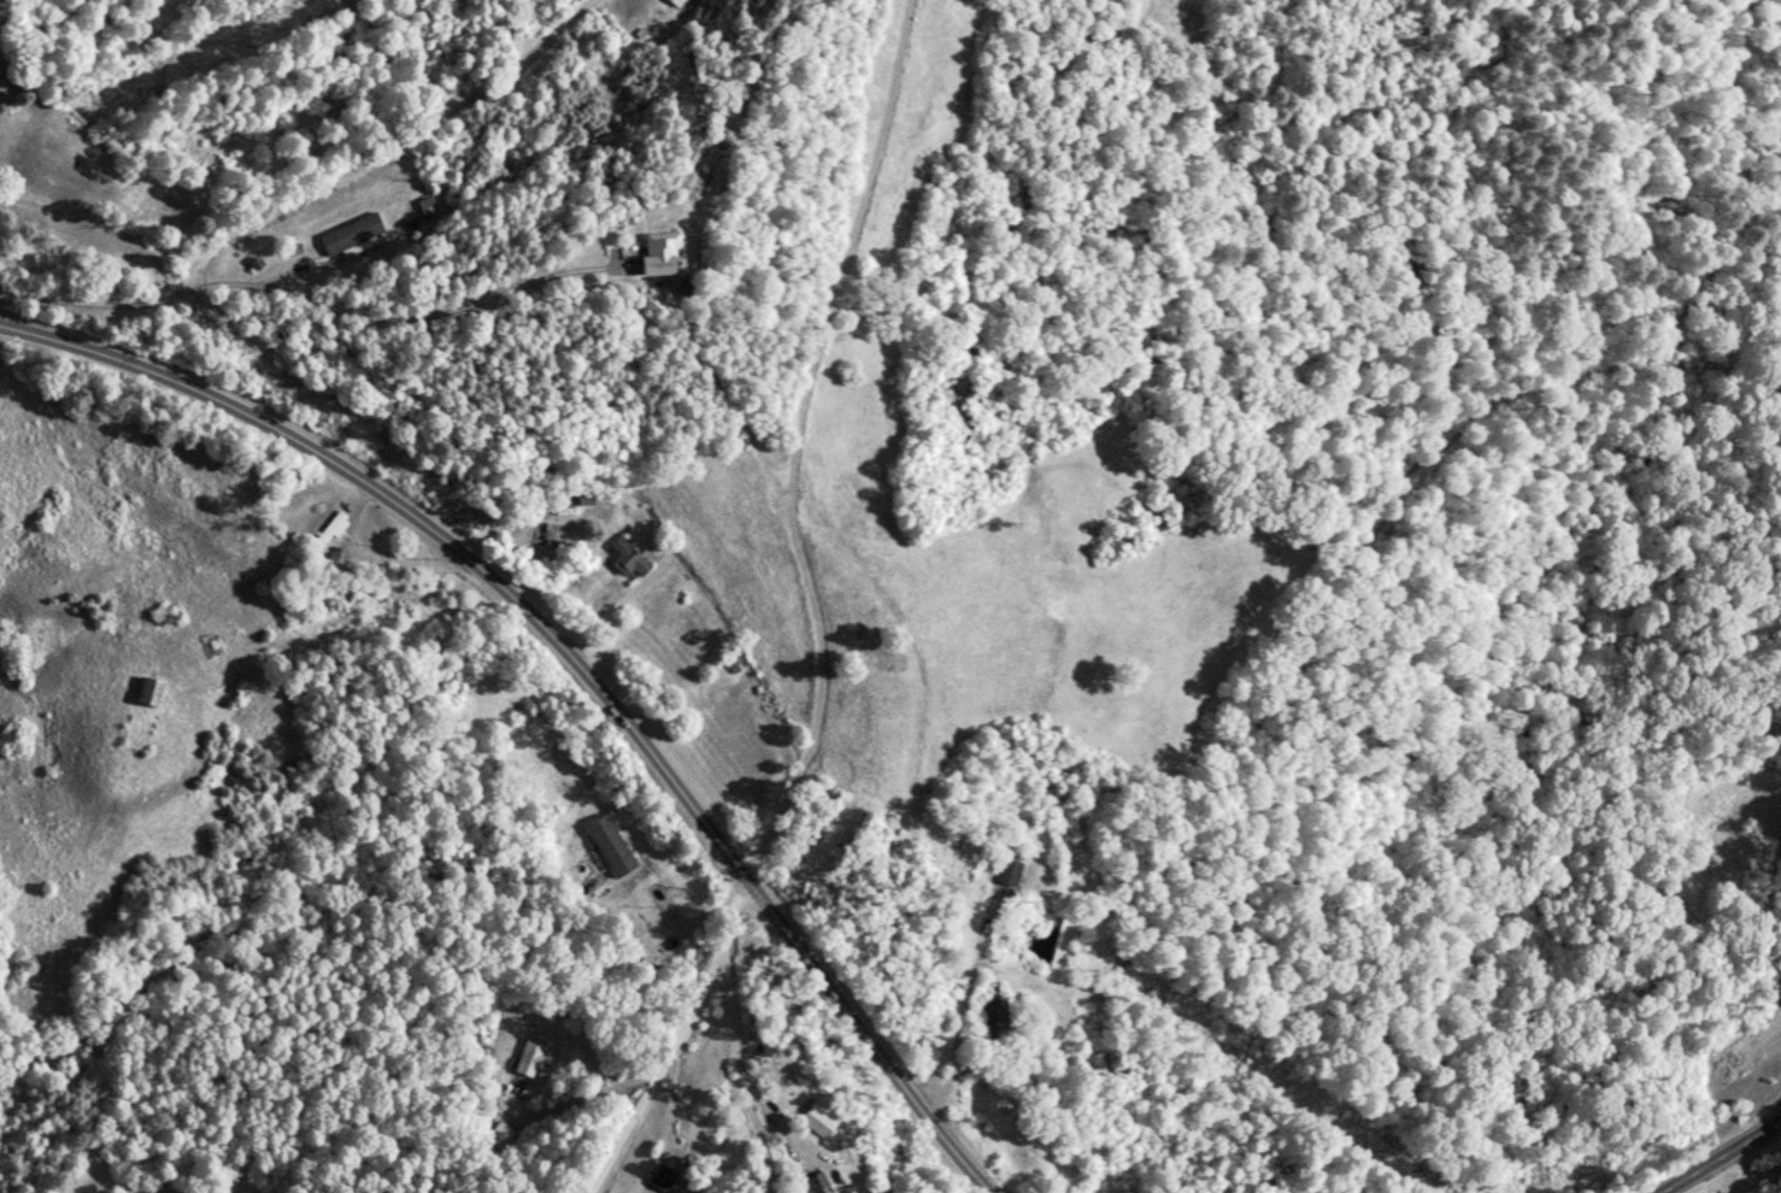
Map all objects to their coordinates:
building: (678, 2)
road: (290, 187)
building: (355, 234)
building: (665, 253)
building: (546, 533)
building: (635, 559)
road: (576, 656)
building: (612, 846)
road: (675, 1044)
building: (533, 1058)
road: (739, 1069)
building: (821, 1119)
road: (1722, 1157)
road: (1721, 1177)
building: (665, 1179)

